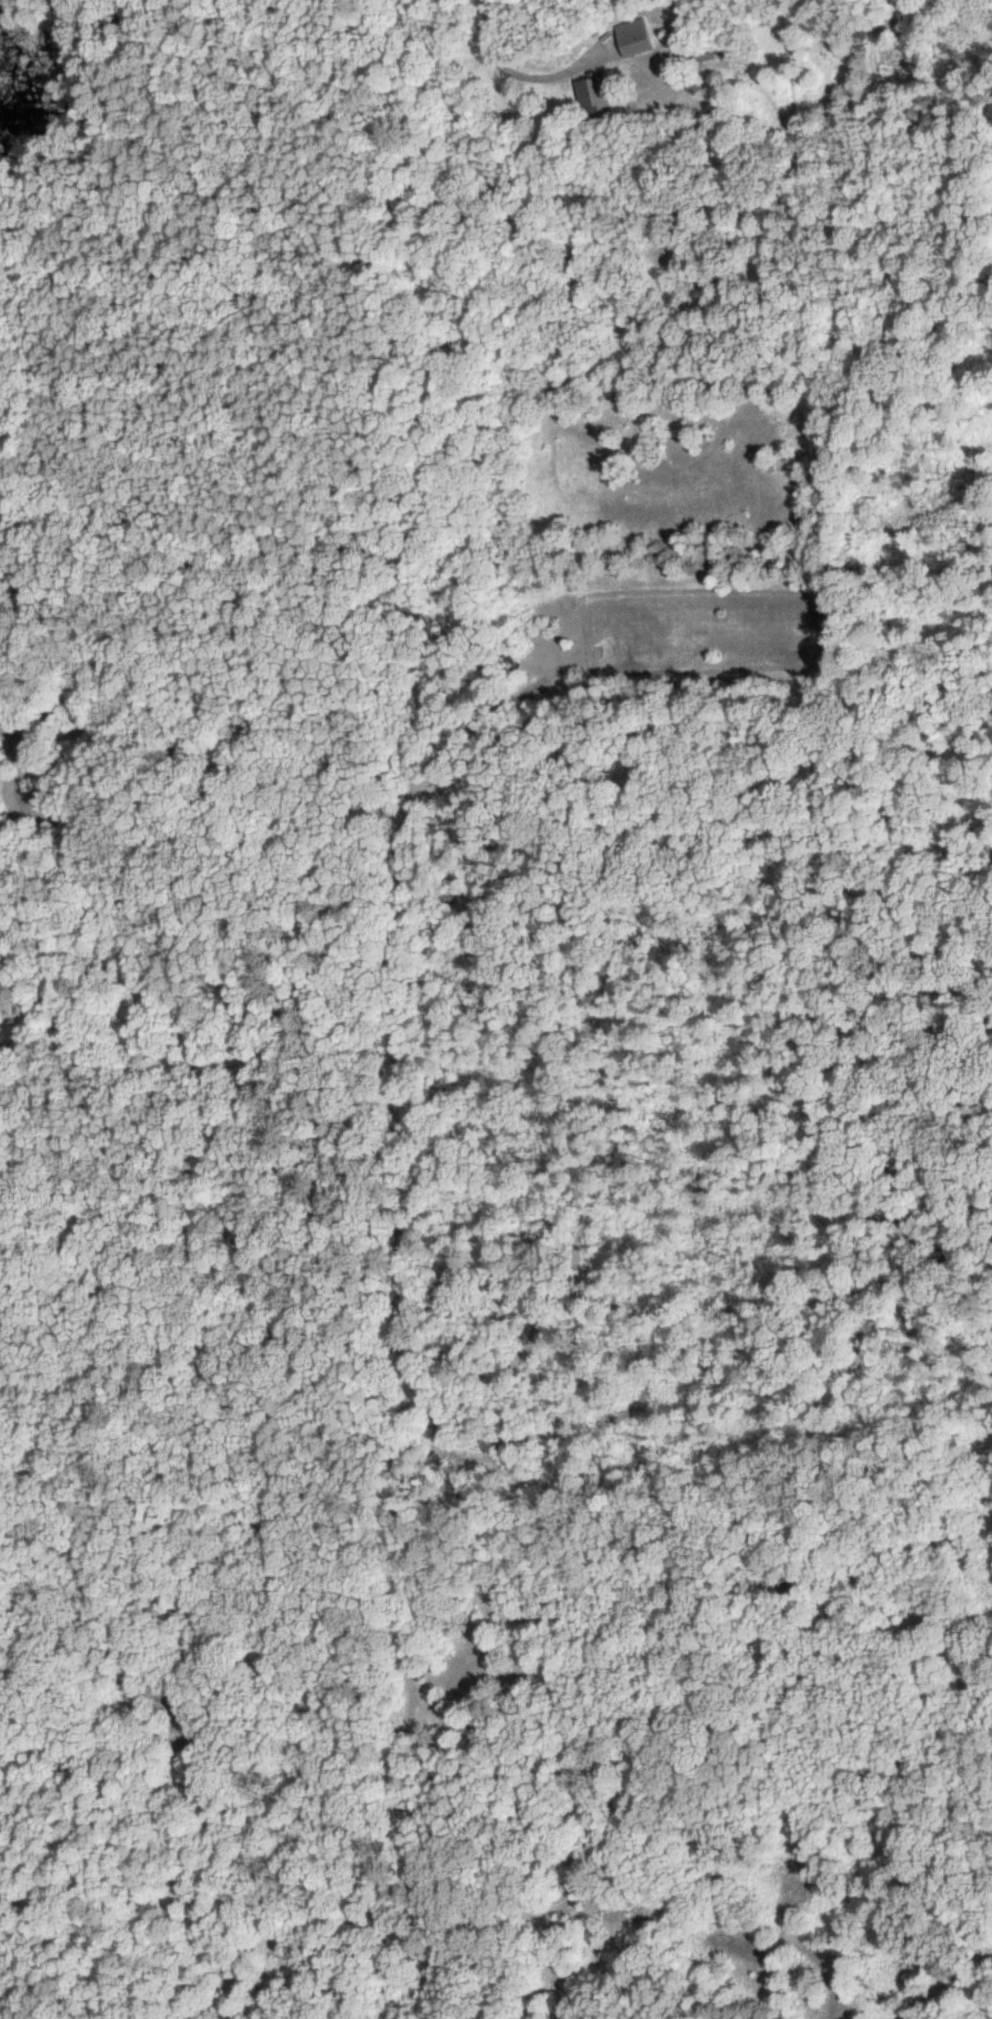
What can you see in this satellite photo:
building: (631, 36)
road: (494, 48)
building: (694, 55)
building: (592, 93)
building: (502, 661)

